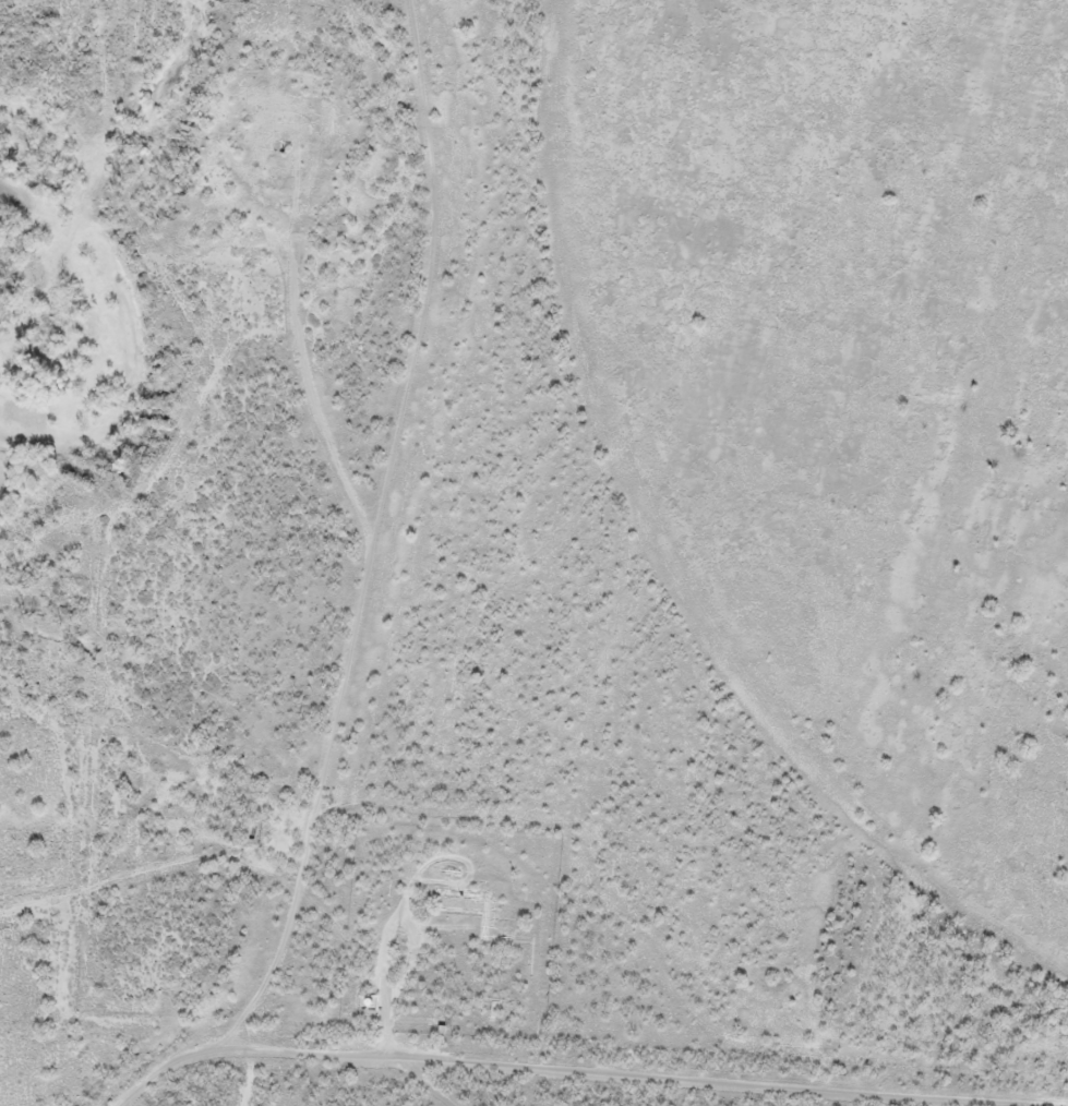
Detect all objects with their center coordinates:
road: (584, 1075)
road: (420, 1084)

